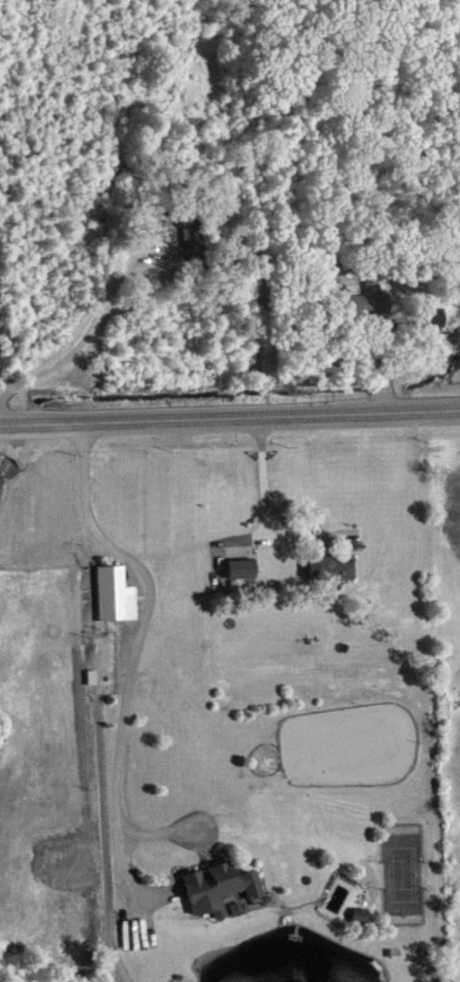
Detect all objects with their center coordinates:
building: (195, 231)
building: (368, 301)
road: (75, 345)
road: (230, 415)
road: (268, 477)
building: (243, 569)
building: (330, 569)
building: (118, 595)
road: (135, 647)
building: (221, 888)
building: (362, 915)

